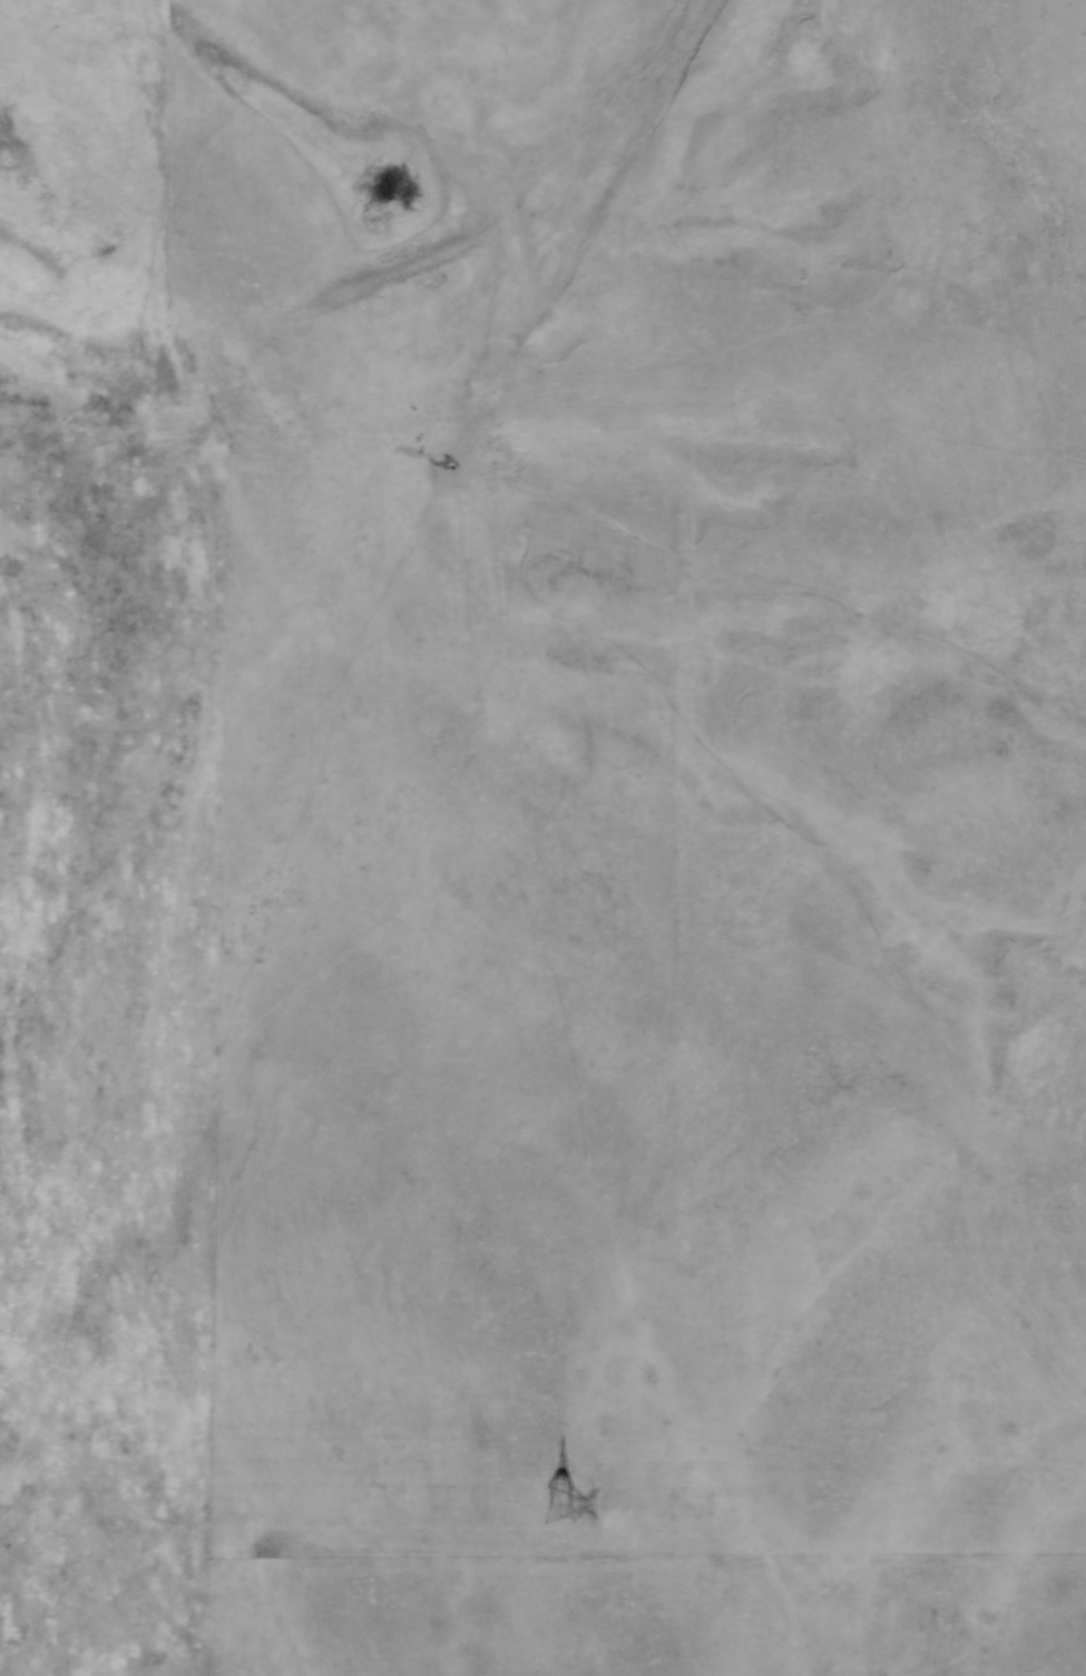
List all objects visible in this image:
power tower: (555, 1506)

